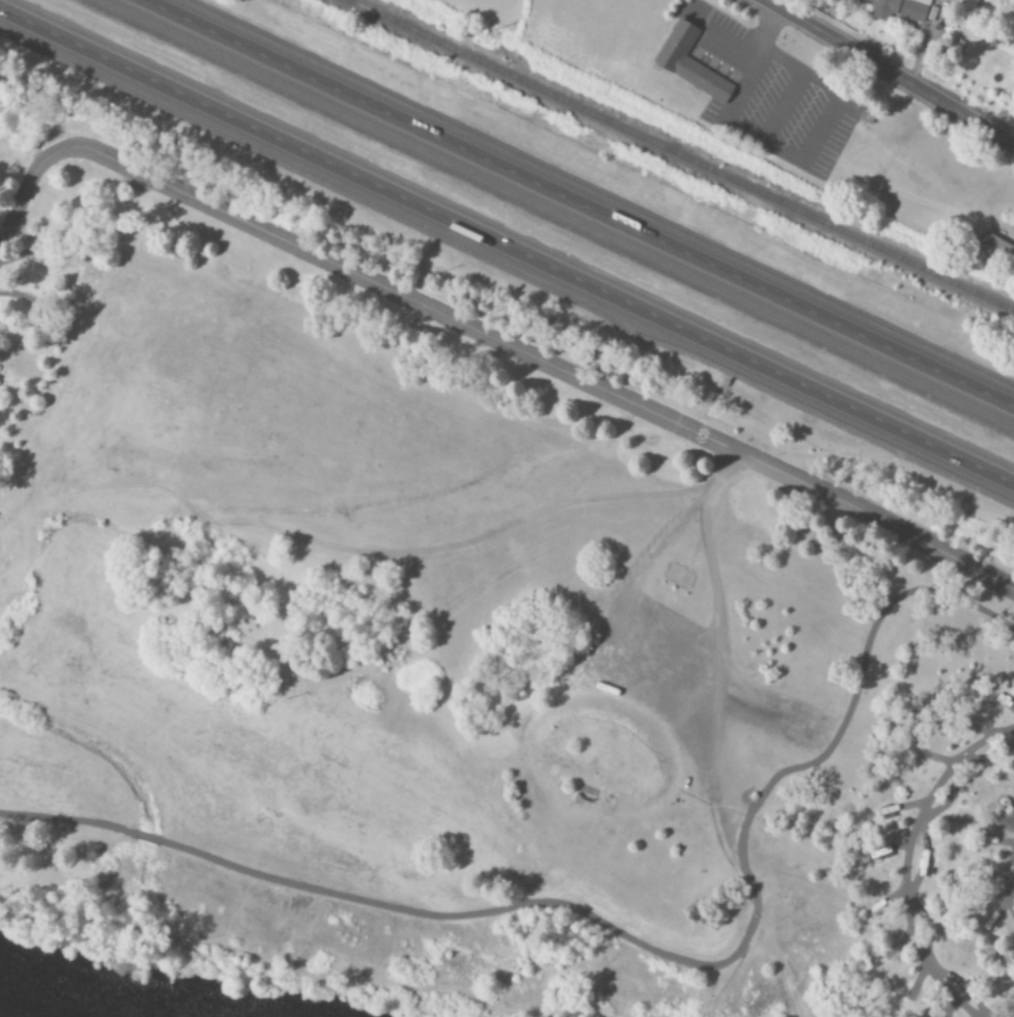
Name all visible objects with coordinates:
building: (880, 7)
building: (914, 9)
building: (691, 64)
road: (887, 73)
parking lot: (778, 99)
railway: (670, 159)
road: (578, 204)
road: (506, 247)
building: (996, 249)
road: (491, 345)
road: (346, 551)
road: (643, 631)
road: (659, 692)
road: (707, 755)
road: (969, 823)
road: (908, 864)
road: (1007, 884)
road: (754, 907)
building: (879, 907)
road: (636, 941)
road: (270, 960)
river: (57, 1004)

